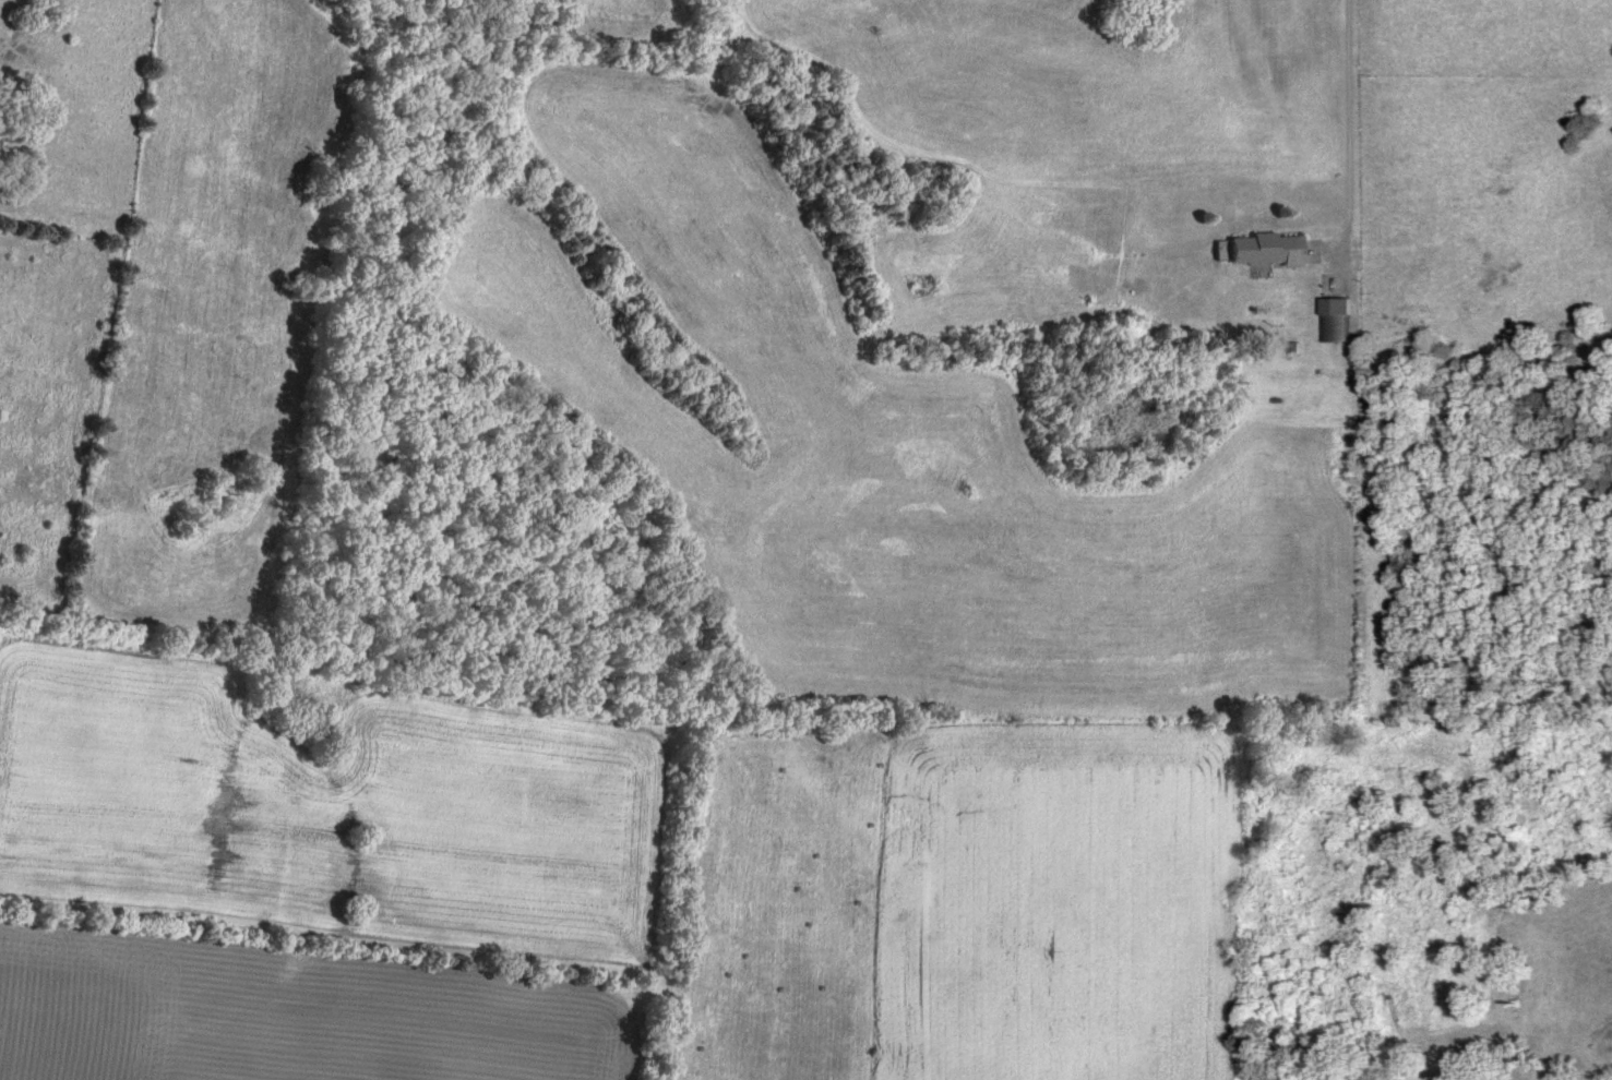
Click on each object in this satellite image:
road: (1348, 131)
building: (1264, 247)
building: (1335, 319)

